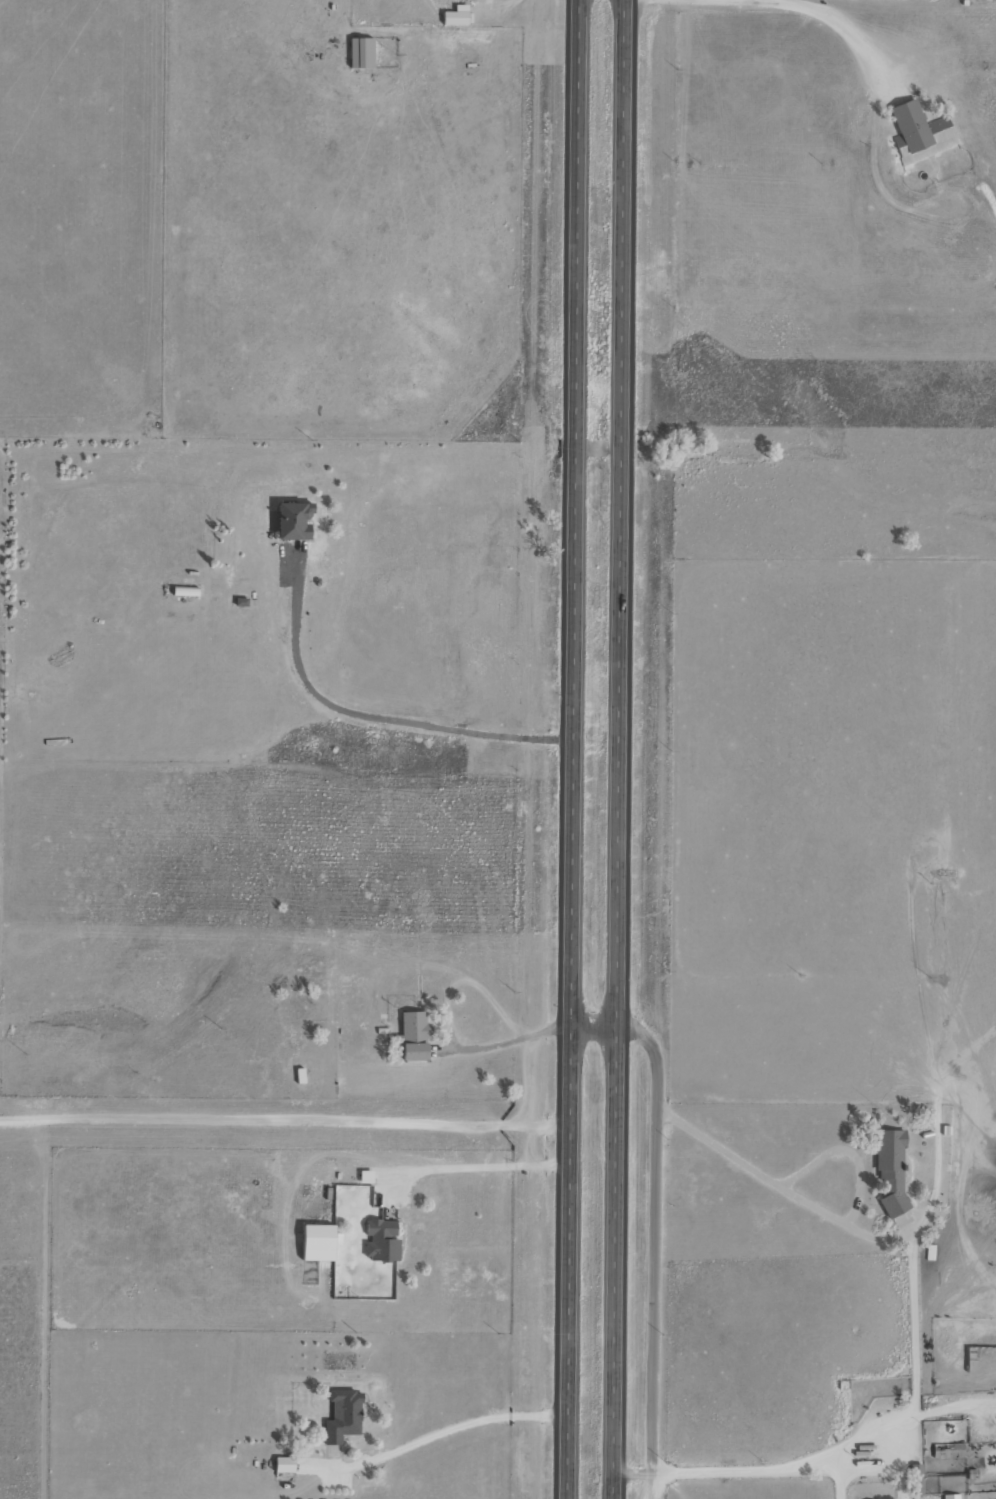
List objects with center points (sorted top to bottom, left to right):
building: (360, 53)
building: (921, 133)
building: (295, 521)
building: (185, 592)
road: (569, 749)
road: (611, 749)
building: (314, 968)
building: (350, 982)
building: (413, 1036)
building: (891, 1172)
building: (382, 1240)
road: (892, 1333)
building: (343, 1416)
building: (947, 1451)
building: (284, 1465)
building: (951, 1497)

